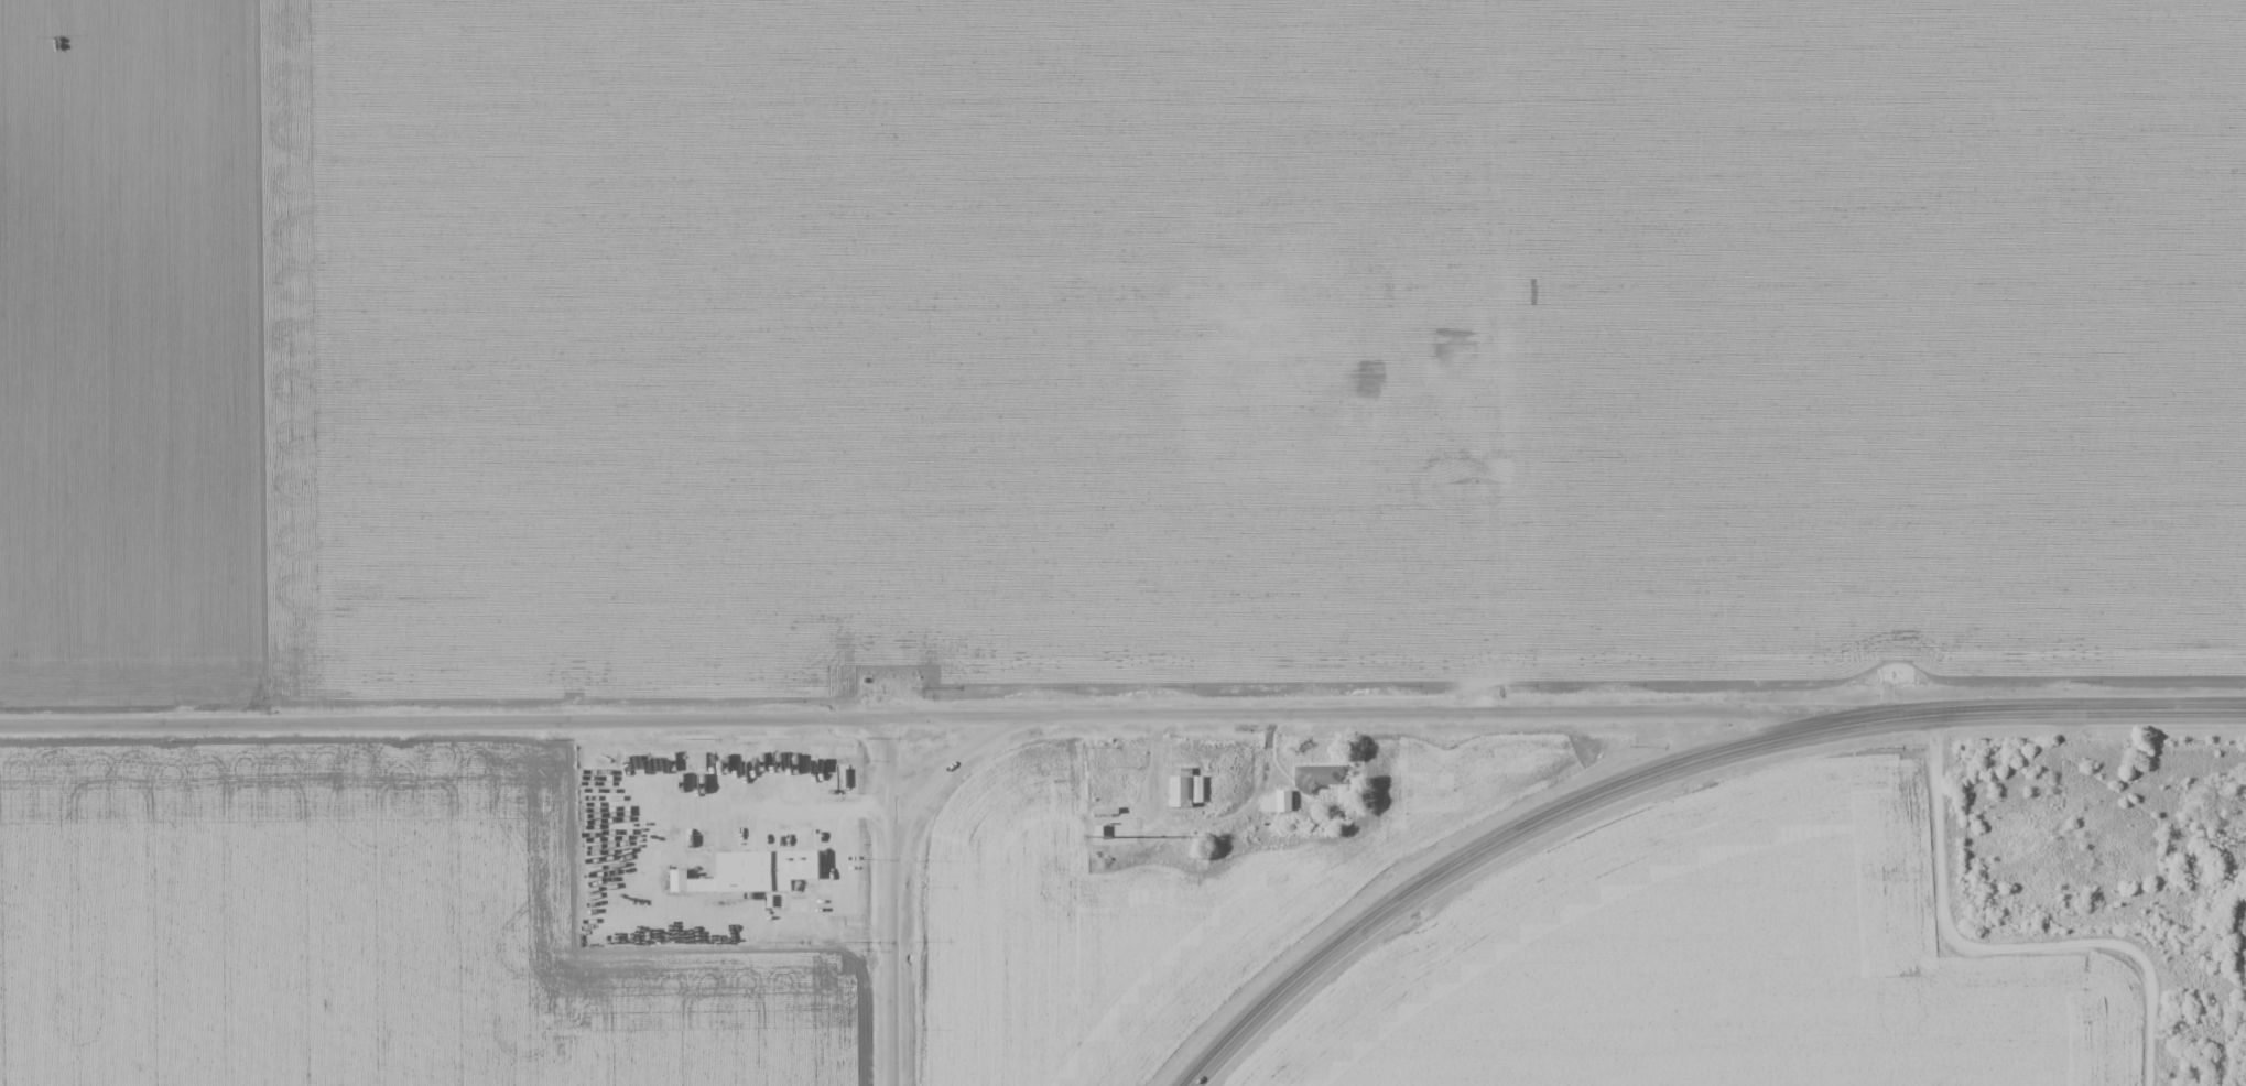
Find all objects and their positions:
road: (966, 714)
road: (1669, 768)
road: (945, 770)
building: (1316, 775)
building: (1183, 788)
building: (1276, 802)
road: (890, 901)
road: (1998, 944)

